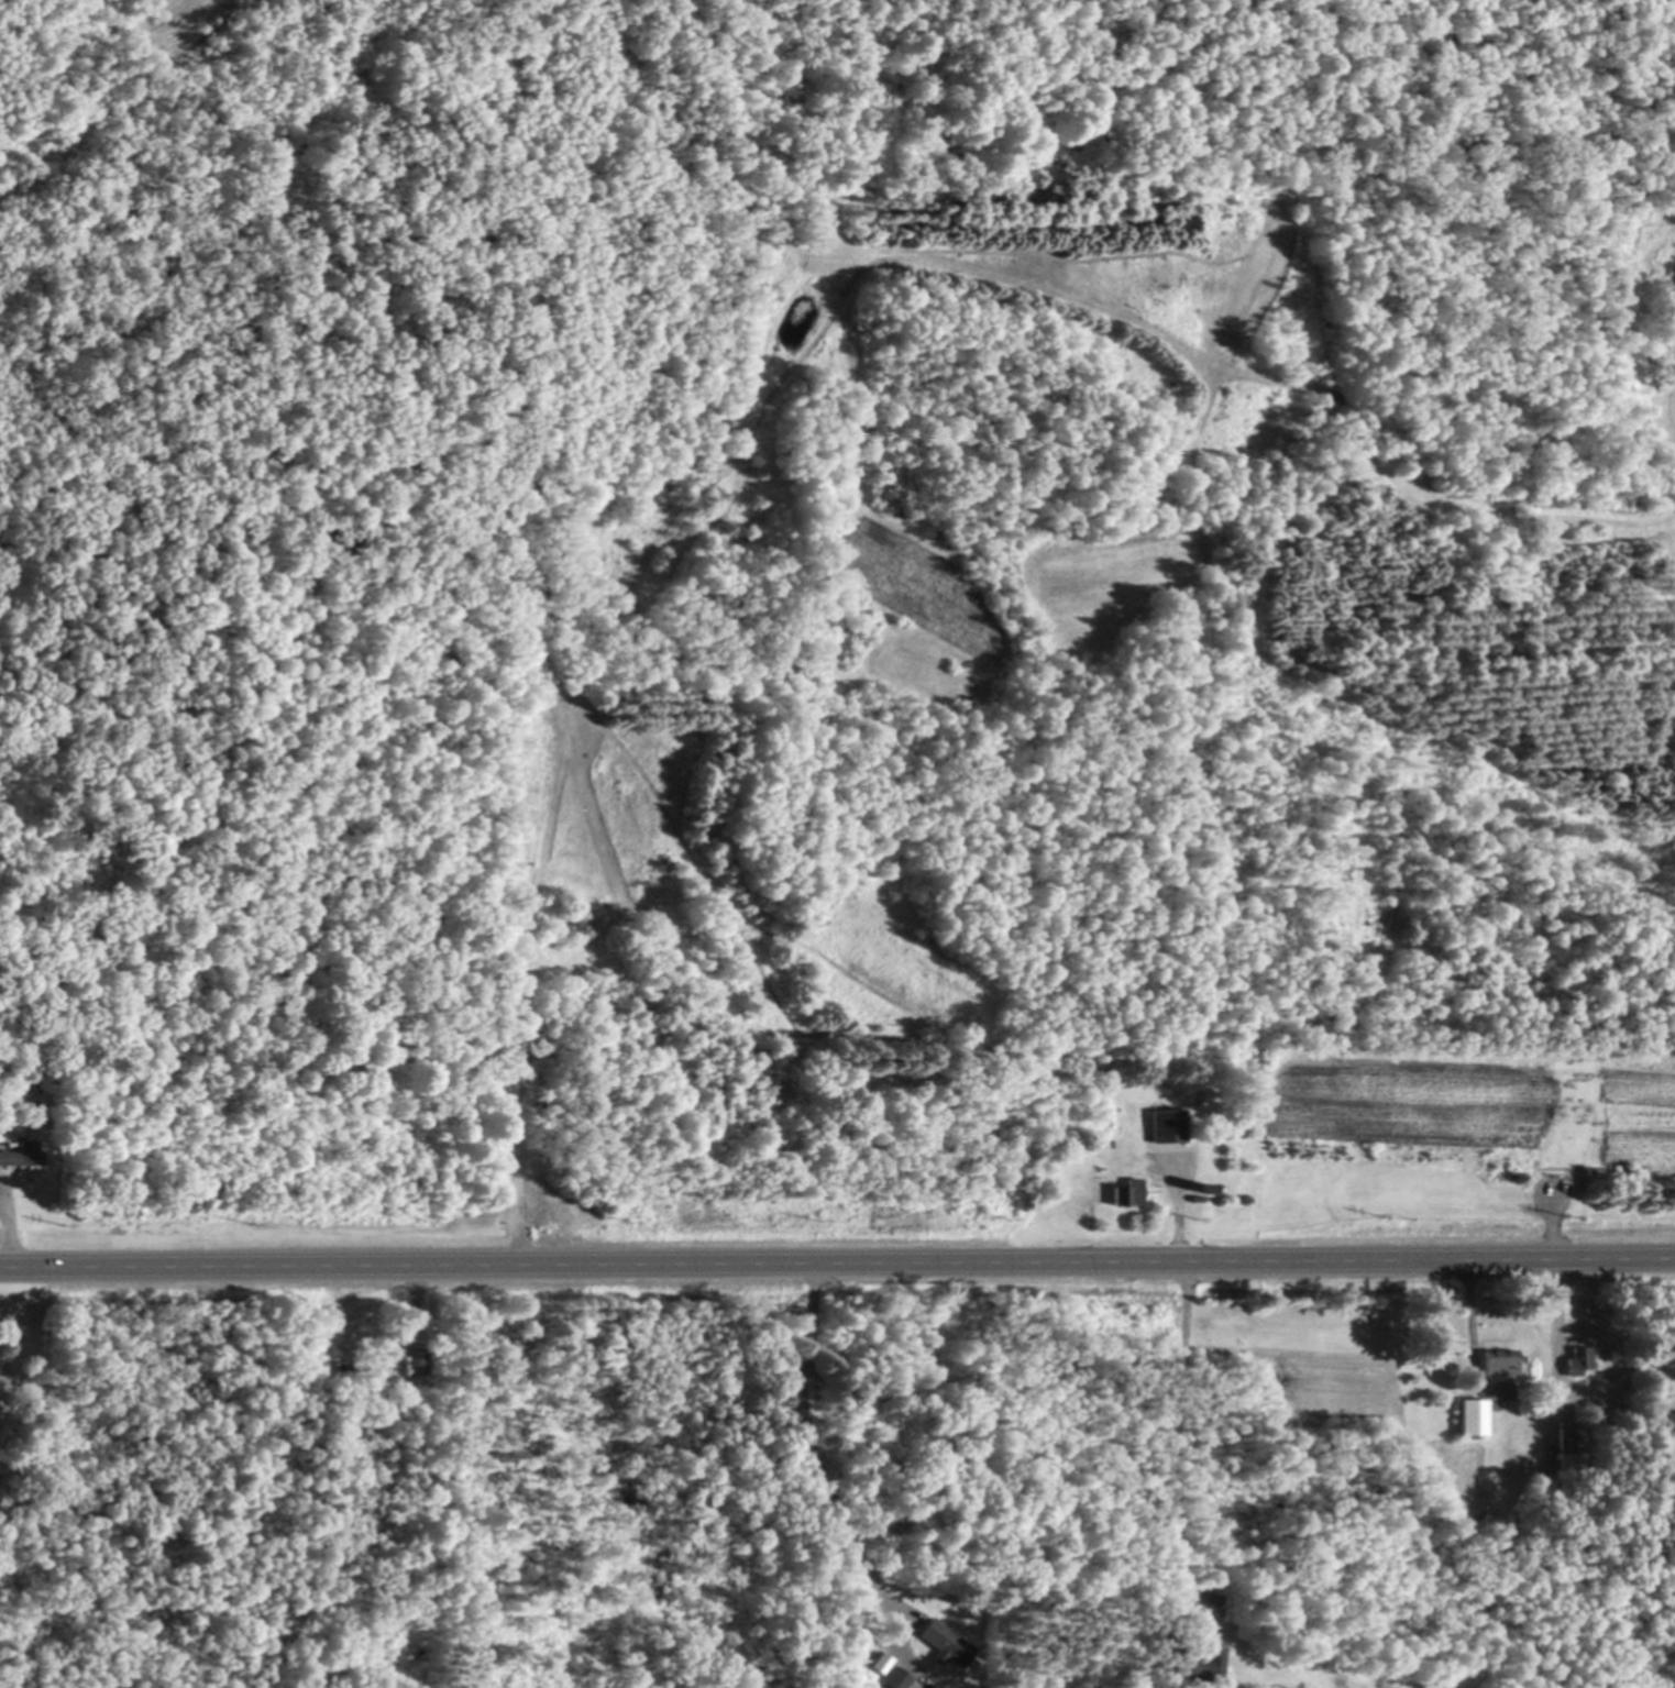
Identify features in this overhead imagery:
building: (52, 1060)
building: (52, 1086)
building: (55, 1116)
building: (1168, 1123)
building: (9, 1127)
building: (22, 1151)
building: (1589, 1165)
building: (1206, 1187)
building: (1126, 1191)
building: (1197, 1196)
power tower: (1384, 1215)
power tower: (1569, 1215)
power tower: (1197, 1218)
power tower: (59, 1221)
power tower: (627, 1221)
power tower: (822, 1221)
power tower: (245, 1222)
power tower: (438, 1222)
power tower: (1007, 1222)
road: (837, 1260)
building: (1577, 1357)
building: (1499, 1358)
building: (416, 1360)
building: (360, 1362)
building: (1472, 1413)
building: (1593, 1414)
building: (1568, 1447)
building: (951, 1640)
building: (1201, 1658)
building: (882, 1661)
building: (896, 1676)

